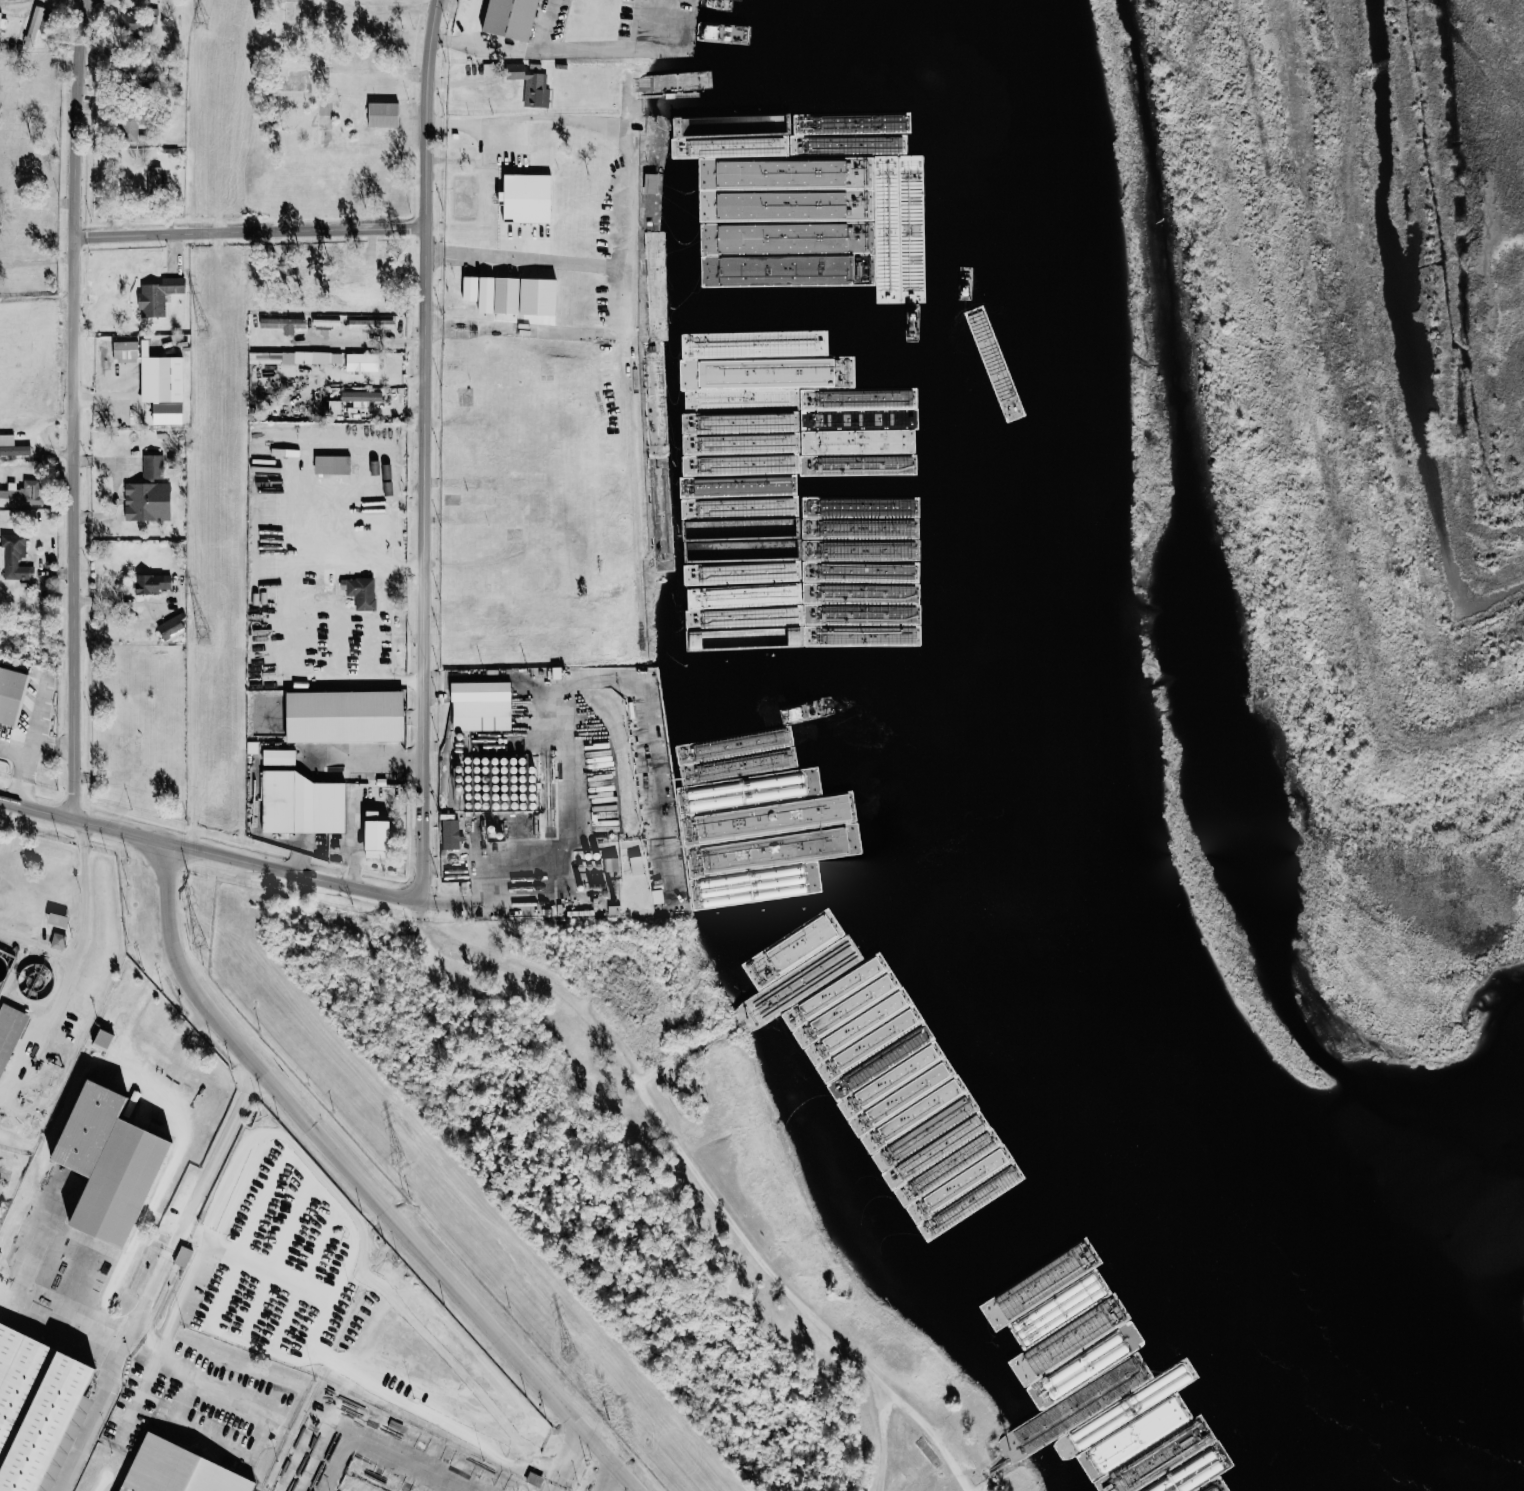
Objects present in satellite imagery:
road: (1, 0)
road: (391, 5)
building: (512, 18)
building: (3, 21)
power tower: (201, 21)
building: (130, 23)
building: (33, 27)
road: (445, 40)
road: (574, 48)
building: (529, 84)
building: (384, 113)
road: (476, 121)
building: (128, 126)
building: (537, 144)
building: (157, 177)
building: (651, 182)
building: (527, 197)
road: (627, 224)
road: (254, 229)
building: (883, 246)
building: (335, 258)
building: (372, 281)
building: (493, 293)
building: (158, 295)
building: (283, 323)
building: (371, 324)
road: (559, 331)
building: (125, 349)
building: (303, 357)
building: (362, 361)
building: (171, 378)
building: (362, 397)
building: (334, 406)
road: (75, 410)
building: (12, 446)
road: (433, 447)
building: (332, 464)
landfill: (1394, 479)
building: (22, 492)
building: (149, 492)
building: (13, 556)
building: (152, 583)
building: (362, 592)
building: (171, 627)
power tower: (205, 639)
building: (11, 693)
building: (482, 706)
building: (346, 716)
road: (47, 742)
road: (10, 748)
building: (279, 757)
road: (19, 778)
building: (304, 804)
building: (451, 834)
building: (378, 836)
road: (214, 857)
building: (612, 864)
building: (636, 865)
road: (82, 895)
building: (58, 941)
road: (36, 949)
wastewater plant: (50, 964)
building: (896, 1026)
building: (9, 1032)
road: (40, 1034)
building: (104, 1040)
building: (859, 1051)
road: (131, 1107)
road: (277, 1140)
road: (681, 1150)
power tower: (403, 1159)
building: (112, 1164)
road: (364, 1184)
building: (183, 1256)
road: (152, 1279)
building: (1041, 1339)
power tower: (573, 1349)
road: (313, 1351)
road: (367, 1371)
road: (136, 1374)
building: (35, 1405)
road: (566, 1461)
road: (954, 1462)
road: (403, 1464)
building: (178, 1469)
building: (534, 1479)
road: (612, 1481)

